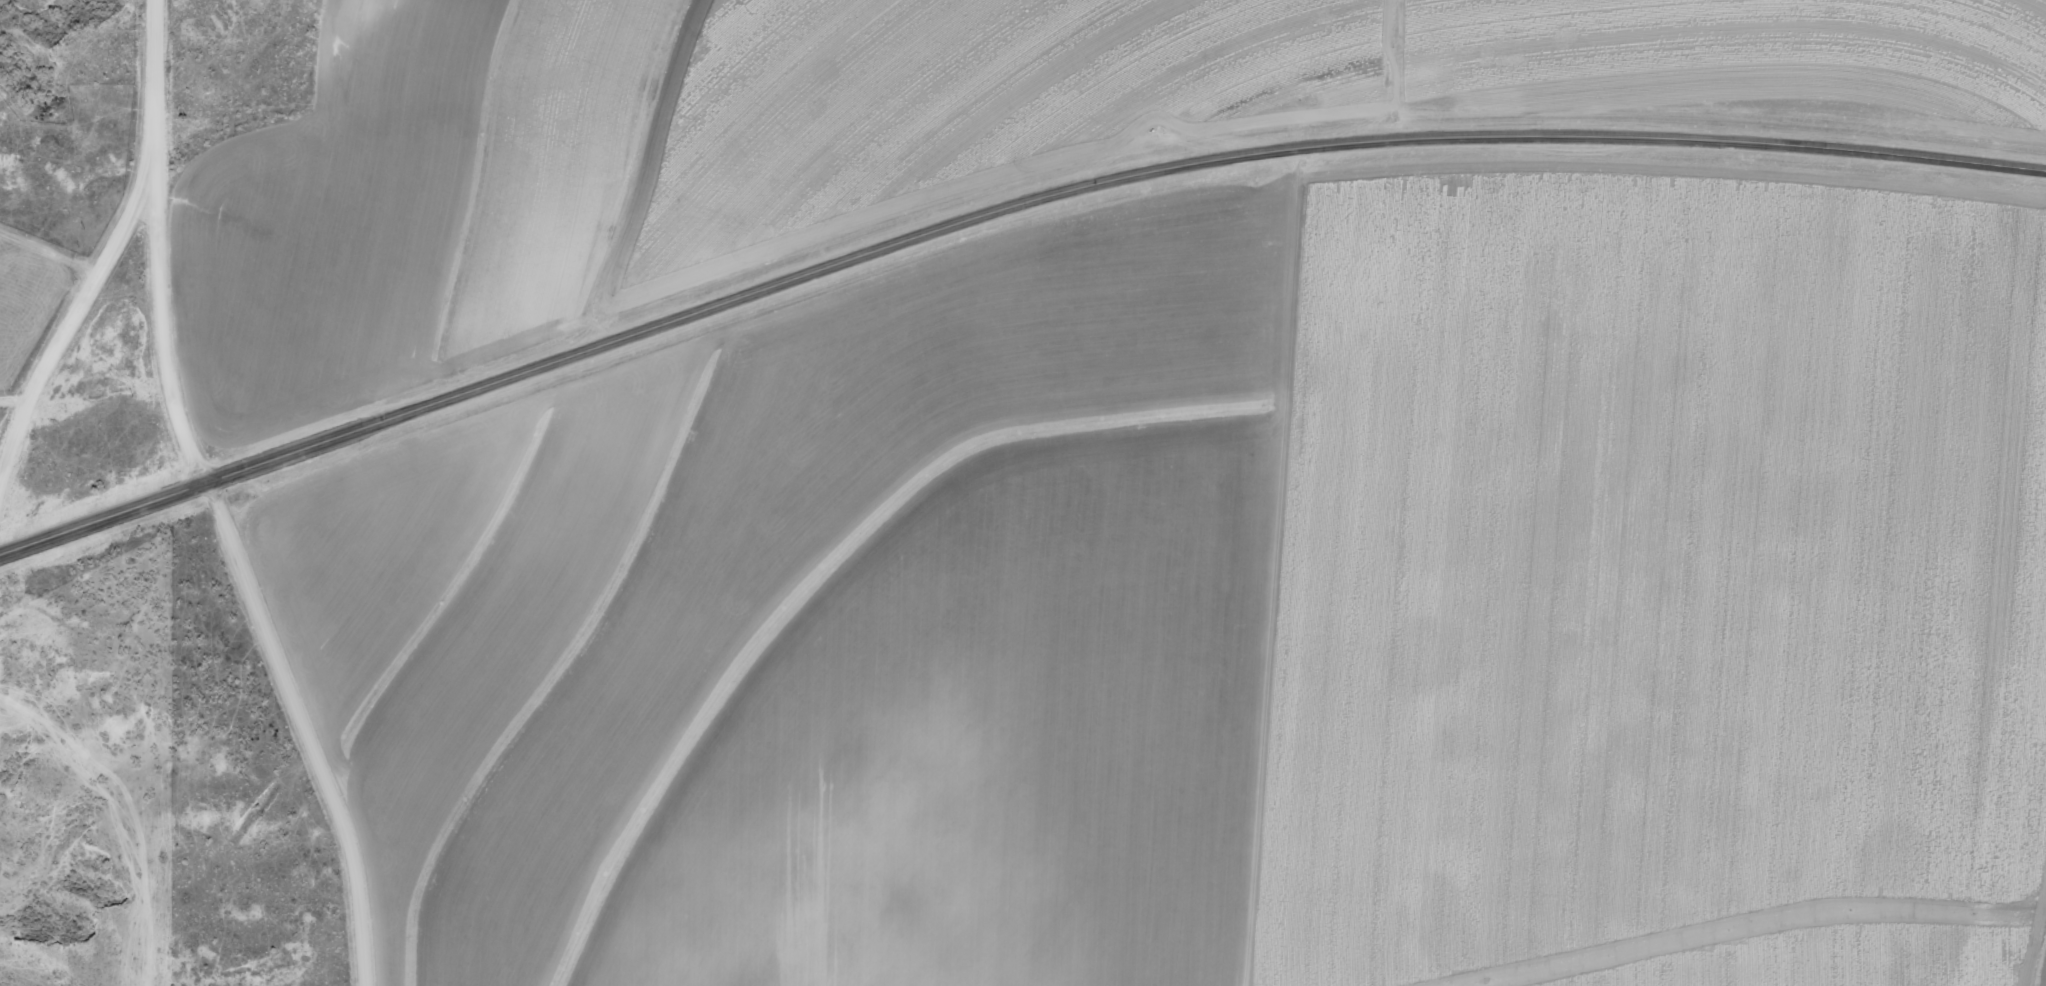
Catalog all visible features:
road: (998, 210)
road: (90, 248)
road: (40, 257)
road: (1280, 565)
road: (235, 580)

